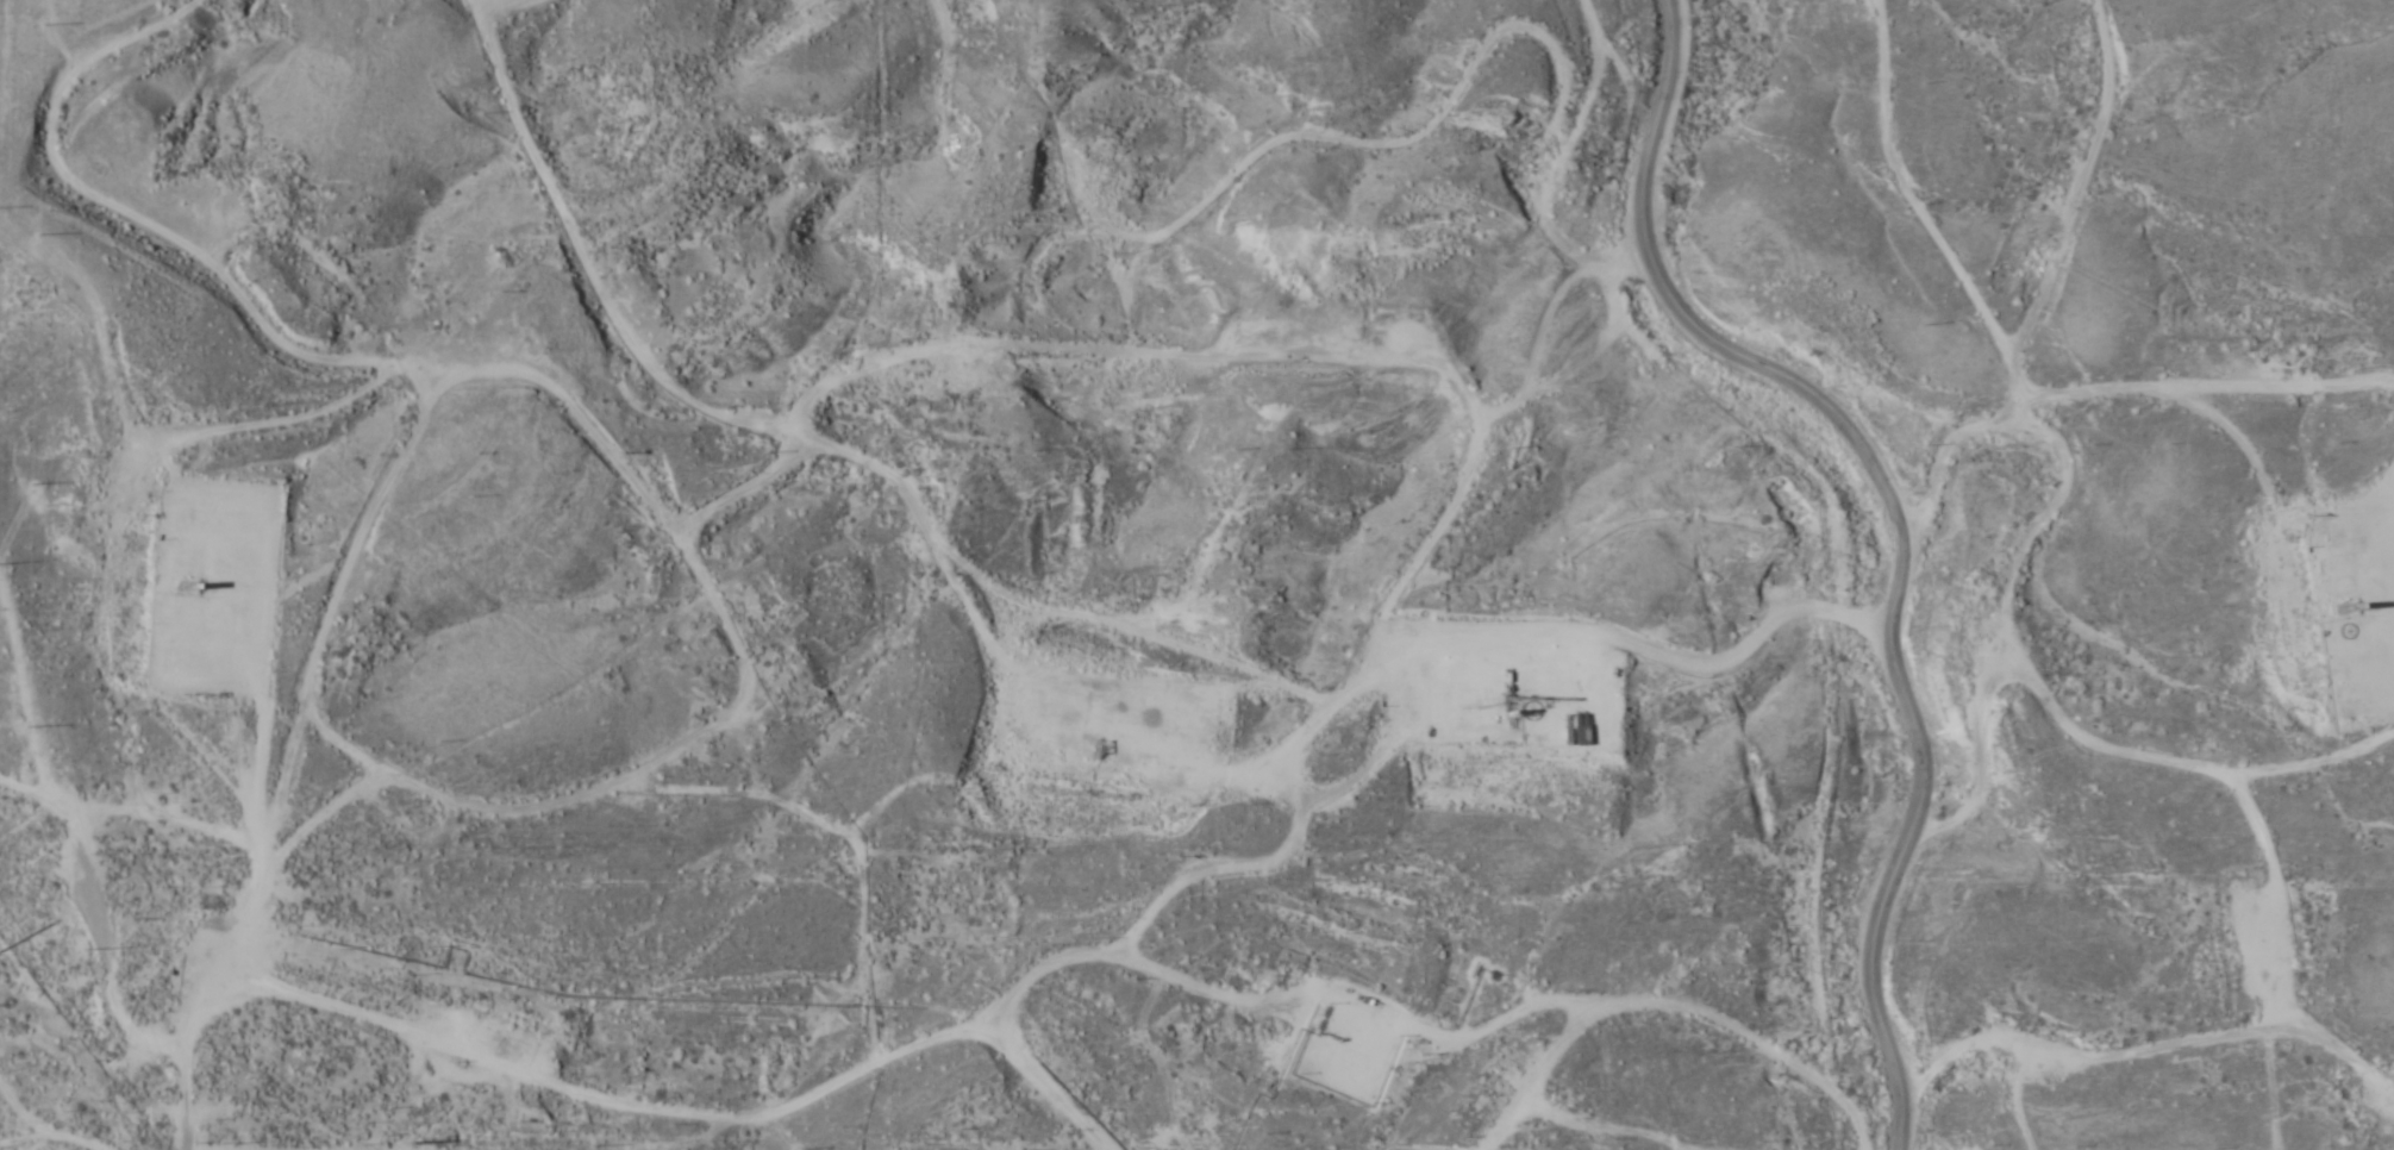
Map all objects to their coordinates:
road: (1898, 527)
road: (958, 565)
road: (2195, 721)

